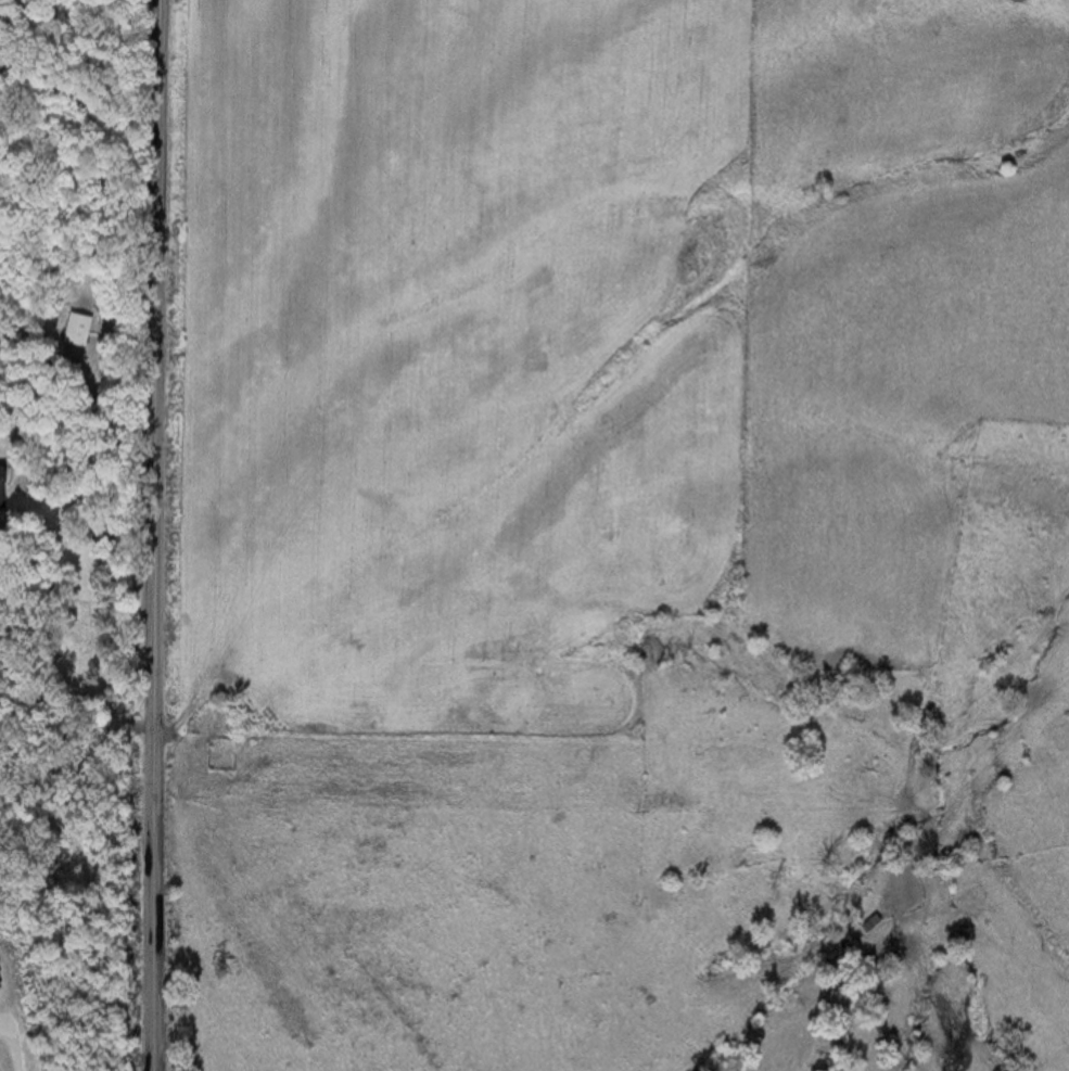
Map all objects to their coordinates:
building: (75, 330)
building: (1, 488)
road: (153, 535)
building: (869, 923)

